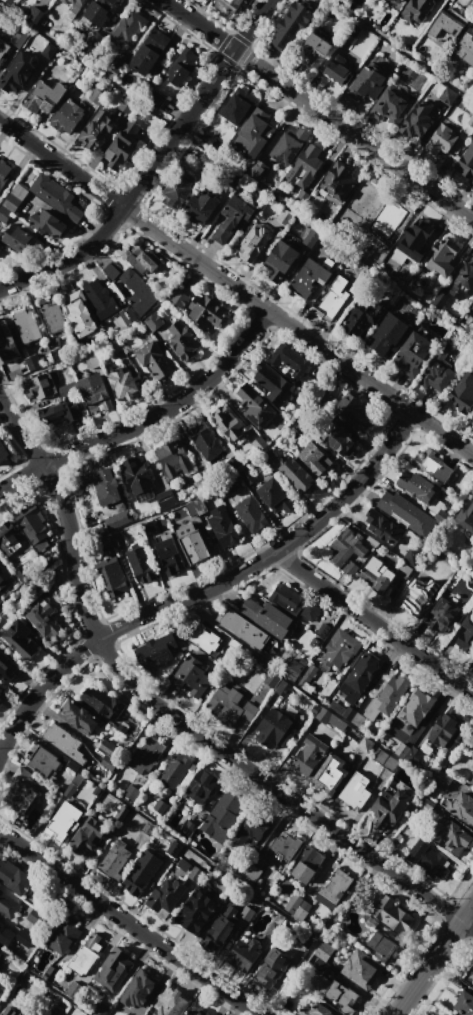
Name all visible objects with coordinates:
building: (8, 1)
building: (398, 1)
building: (230, 4)
building: (354, 4)
building: (75, 5)
building: (416, 9)
building: (98, 11)
building: (33, 13)
building: (67, 15)
road: (199, 24)
road: (251, 24)
building: (449, 24)
building: (291, 25)
building: (128, 28)
building: (354, 30)
building: (19, 37)
building: (92, 41)
building: (465, 47)
building: (4, 49)
building: (152, 49)
building: (316, 49)
building: (49, 50)
road: (401, 50)
building: (116, 64)
building: (183, 66)
building: (19, 72)
building: (337, 73)
park: (408, 76)
building: (367, 82)
building: (96, 95)
building: (448, 95)
building: (44, 96)
building: (157, 99)
building: (126, 105)
building: (237, 106)
building: (391, 107)
building: (67, 116)
building: (417, 121)
building: (98, 129)
road: (353, 133)
building: (253, 134)
building: (441, 139)
building: (127, 142)
building: (289, 144)
building: (465, 161)
building: (260, 165)
building: (306, 166)
road: (236, 169)
building: (3, 172)
building: (338, 182)
building: (178, 189)
road: (134, 192)
building: (58, 197)
building: (302, 197)
building: (363, 200)
building: (12, 201)
building: (201, 207)
building: (285, 217)
building: (232, 218)
building: (48, 223)
building: (17, 238)
building: (311, 238)
building: (415, 239)
building: (253, 243)
building: (1, 246)
building: (375, 250)
building: (441, 256)
building: (141, 258)
building: (280, 261)
building: (112, 270)
building: (308, 278)
building: (463, 281)
road: (236, 288)
building: (138, 291)
building: (100, 298)
building: (179, 298)
building: (440, 298)
building: (331, 299)
building: (472, 305)
building: (207, 311)
building: (80, 314)
building: (53, 317)
building: (125, 317)
building: (362, 317)
building: (153, 321)
building: (27, 326)
building: (5, 334)
building: (388, 335)
building: (183, 340)
building: (114, 347)
building: (412, 352)
building: (59, 353)
building: (10, 354)
building: (91, 359)
building: (290, 359)
building: (32, 361)
building: (155, 361)
building: (436, 372)
building: (45, 383)
building: (273, 383)
building: (123, 385)
building: (95, 393)
road: (450, 393)
building: (463, 394)
building: (254, 405)
building: (355, 411)
building: (60, 412)
building: (472, 420)
road: (150, 423)
building: (227, 423)
building: (337, 439)
building: (206, 441)
building: (259, 444)
building: (3, 451)
building: (174, 459)
building: (314, 459)
building: (234, 462)
building: (432, 465)
building: (247, 475)
building: (298, 475)
building: (138, 478)
building: (228, 486)
building: (418, 487)
building: (108, 489)
building: (164, 495)
building: (275, 495)
building: (196, 506)
building: (466, 513)
building: (251, 514)
building: (407, 514)
building: (118, 519)
building: (221, 525)
building: (149, 527)
building: (384, 527)
building: (35, 528)
building: (11, 539)
building: (118, 540)
building: (193, 543)
building: (348, 546)
building: (169, 556)
building: (412, 556)
building: (141, 565)
building: (350, 568)
building: (404, 570)
building: (376, 574)
building: (112, 576)
building: (397, 579)
building: (2, 583)
road: (208, 594)
building: (420, 594)
building: (0, 601)
building: (294, 601)
building: (443, 615)
building: (266, 616)
building: (44, 619)
road: (379, 623)
building: (244, 628)
building: (323, 629)
building: (466, 634)
building: (203, 638)
building: (20, 639)
building: (339, 649)
building: (156, 651)
building: (7, 667)
building: (300, 671)
building: (192, 677)
building: (359, 677)
building: (272, 679)
building: (0, 686)
building: (283, 688)
building: (0, 689)
building: (387, 697)
building: (103, 702)
building: (417, 705)
building: (230, 707)
building: (79, 715)
building: (353, 716)
building: (328, 717)
road: (165, 722)
building: (122, 728)
building: (275, 728)
building: (444, 730)
building: (63, 741)
building: (365, 745)
building: (107, 747)
building: (145, 755)
building: (309, 755)
building: (414, 755)
building: (381, 756)
building: (41, 761)
building: (69, 762)
building: (109, 763)
building: (390, 763)
building: (174, 770)
building: (331, 773)
building: (443, 780)
building: (472, 782)
building: (19, 785)
building: (72, 786)
building: (200, 786)
building: (96, 790)
building: (356, 790)
building: (131, 792)
building: (103, 803)
building: (160, 806)
building: (390, 807)
building: (462, 808)
building: (122, 812)
building: (224, 815)
building: (62, 821)
building: (188, 827)
building: (254, 827)
building: (149, 828)
building: (88, 836)
building: (451, 836)
building: (284, 847)
building: (174, 848)
building: (115, 859)
building: (428, 860)
building: (183, 865)
building: (307, 865)
building: (142, 872)
building: (251, 874)
building: (14, 877)
building: (336, 885)
building: (166, 897)
building: (8, 906)
building: (297, 907)
building: (197, 911)
building: (392, 915)
building: (37, 918)
road: (130, 921)
building: (371, 922)
building: (221, 928)
building: (5, 934)
building: (65, 934)
building: (22, 937)
building: (381, 946)
building: (0, 949)
building: (324, 950)
building: (1, 951)
building: (86, 955)
building: (242, 956)
road: (433, 958)
building: (361, 965)
building: (113, 968)
building: (270, 969)
building: (471, 981)
building: (139, 990)
building: (341, 997)
building: (170, 1002)
building: (464, 1003)
building: (317, 1010)
building: (11, 1011)
building: (193, 1011)
building: (33, 1014)
building: (446, 1014)

